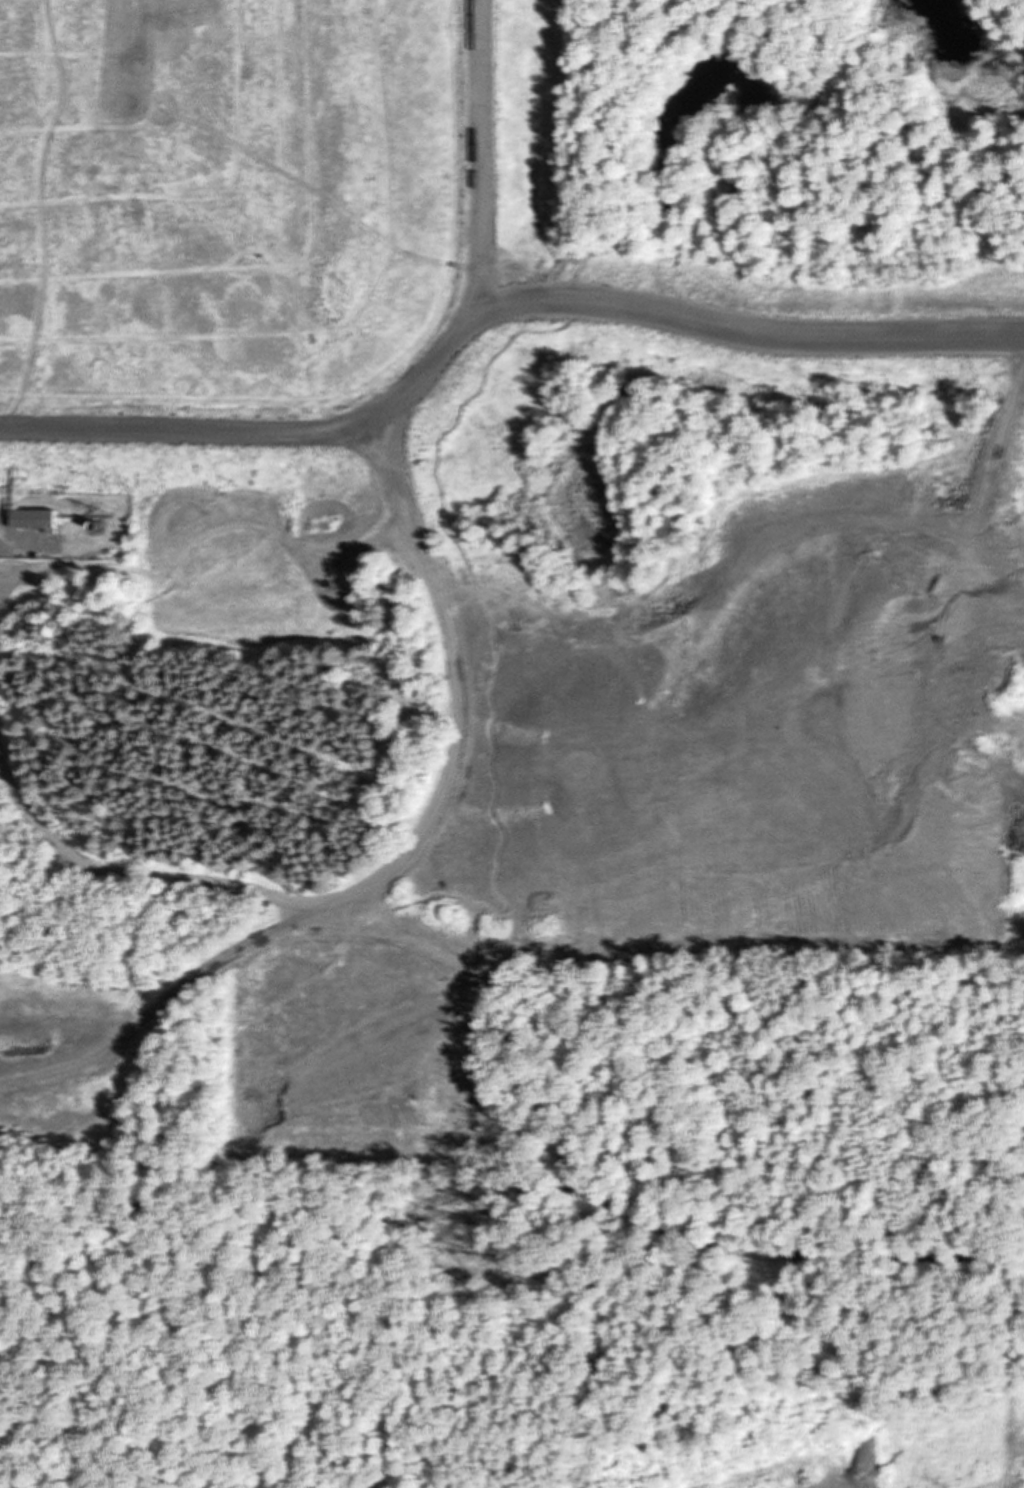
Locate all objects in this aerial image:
road: (413, 401)
building: (38, 519)
landfill: (512, 744)
road: (127, 1303)

